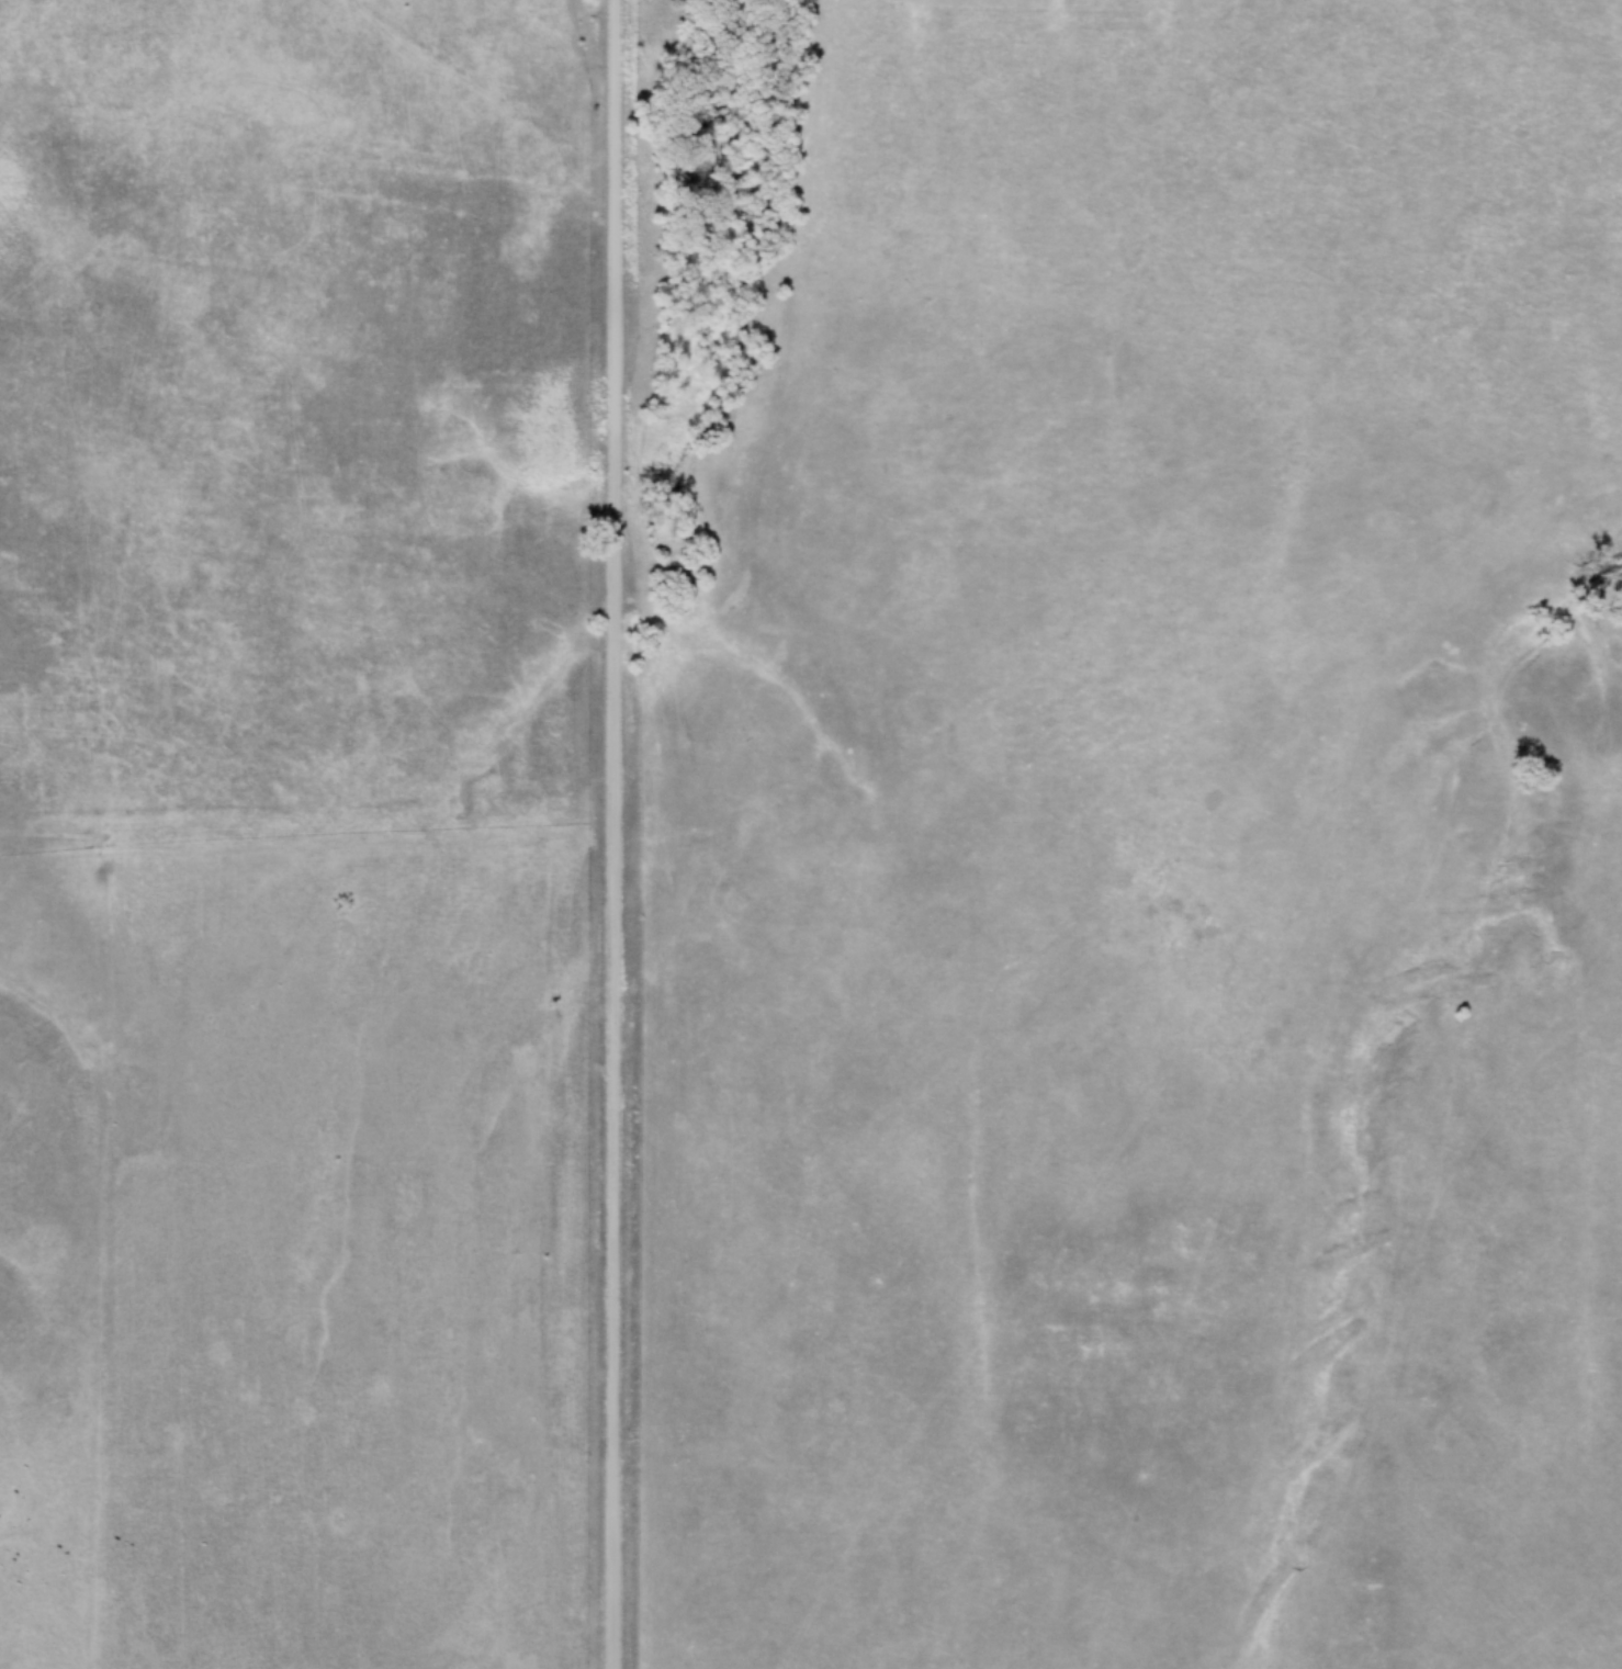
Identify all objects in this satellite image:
road: (611, 834)

